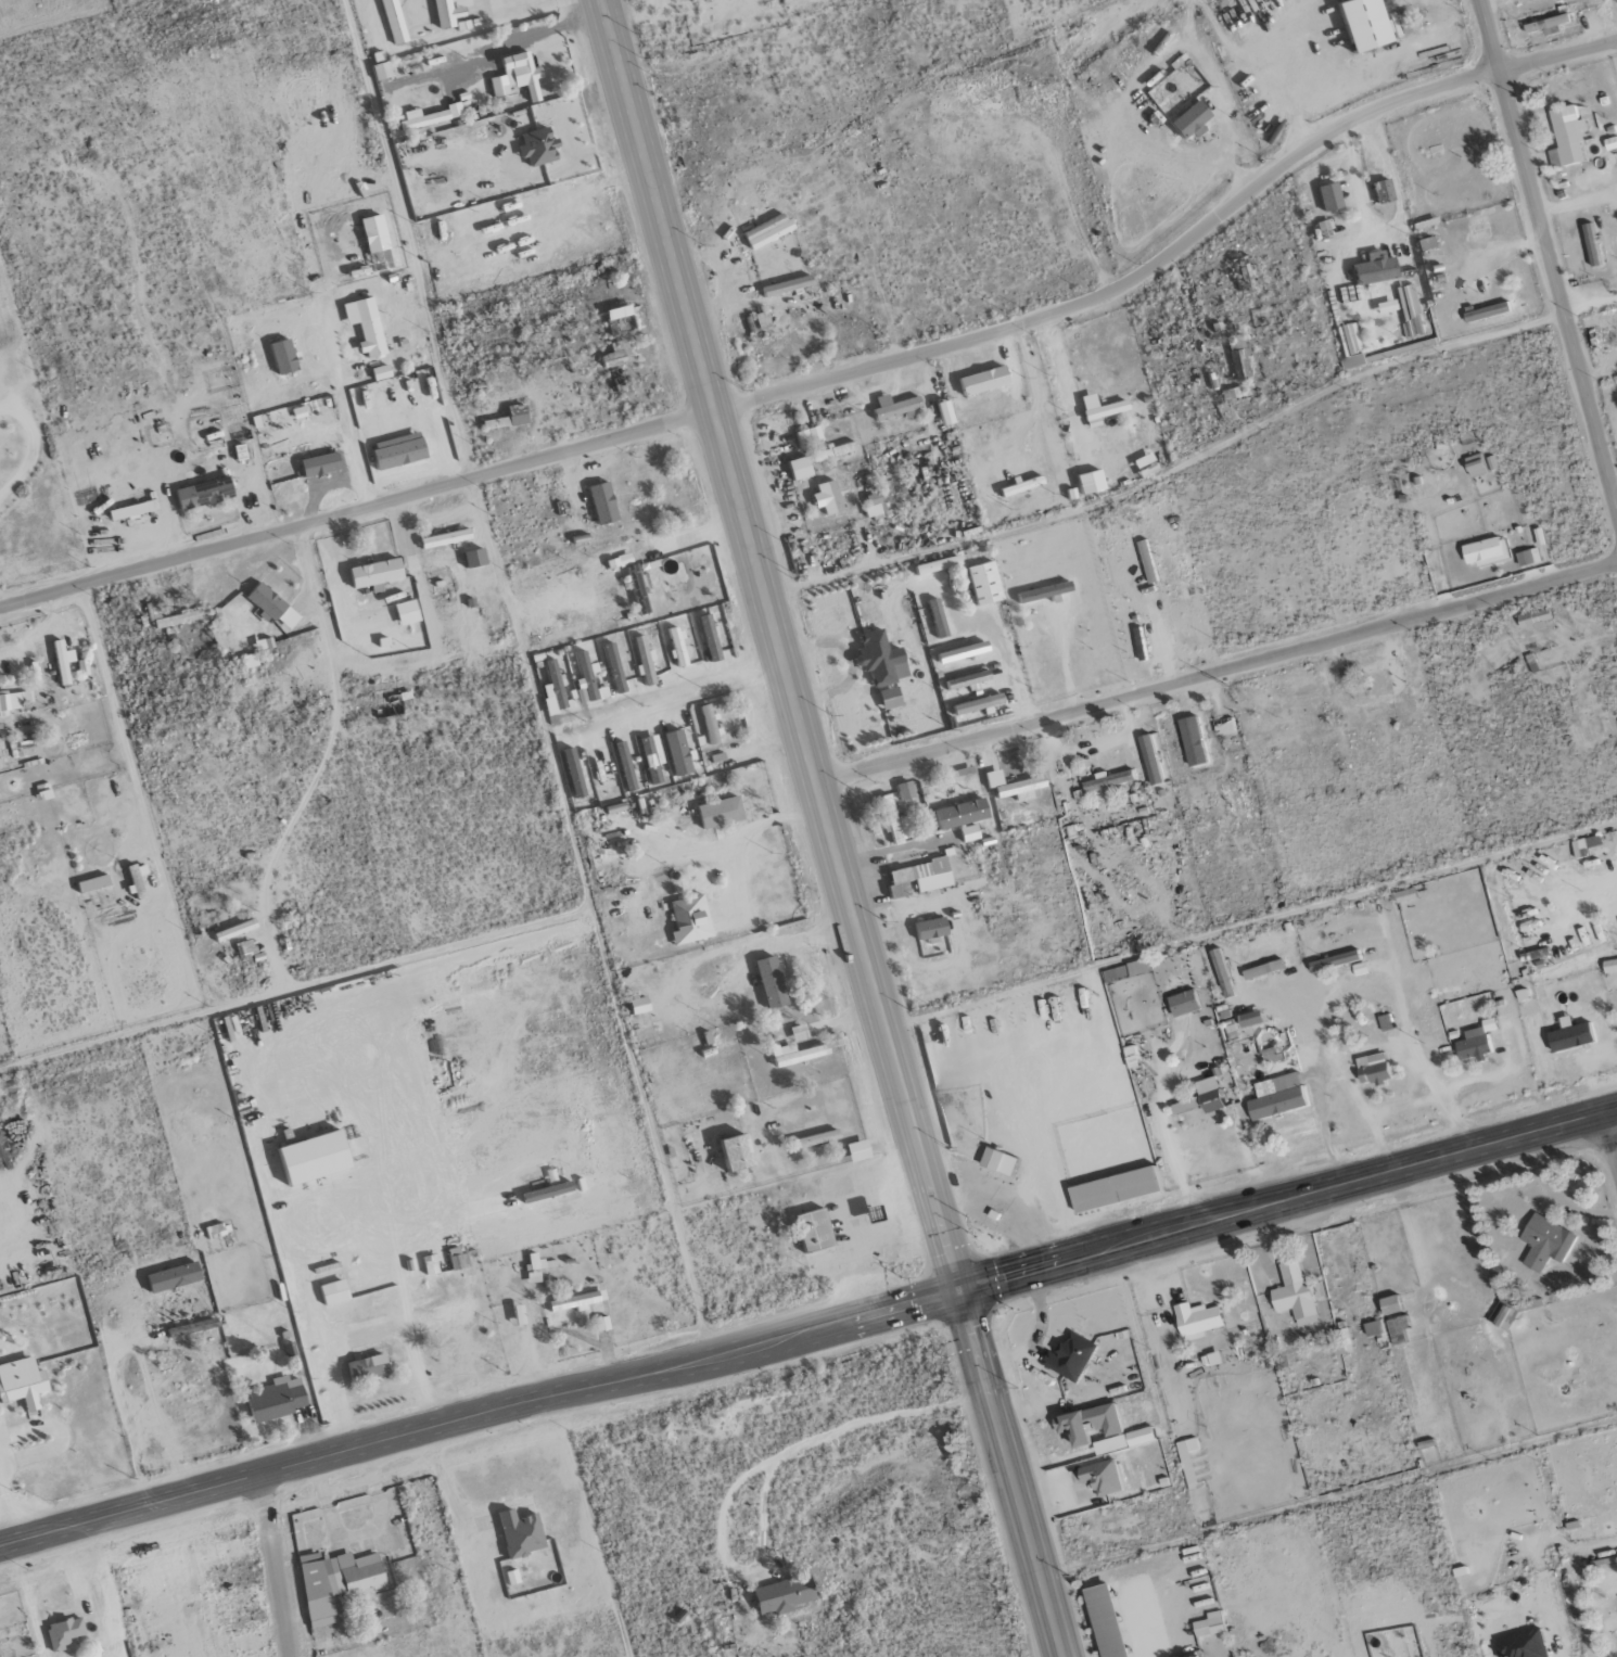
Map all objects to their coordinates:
building: (441, 13)
building: (390, 21)
building: (1408, 23)
building: (1357, 24)
building: (1545, 25)
building: (378, 71)
building: (519, 76)
building: (431, 116)
building: (1185, 120)
building: (1566, 137)
building: (1610, 143)
building: (538, 146)
building: (1378, 191)
building: (1325, 196)
road: (1390, 229)
building: (762, 231)
building: (377, 233)
road: (410, 238)
building: (1421, 243)
building: (1591, 244)
road: (1549, 253)
building: (1371, 269)
building: (782, 285)
road: (1591, 306)
building: (1406, 310)
building: (1486, 313)
building: (622, 318)
building: (757, 320)
building: (368, 324)
building: (1349, 345)
building: (619, 354)
building: (285, 356)
building: (1236, 357)
road: (833, 379)
building: (979, 380)
building: (1232, 393)
building: (890, 406)
building: (1095, 408)
building: (939, 411)
building: (519, 415)
building: (497, 423)
building: (804, 435)
building: (399, 454)
building: (813, 459)
building: (322, 463)
building: (1016, 486)
building: (205, 493)
building: (823, 497)
building: (604, 502)
building: (868, 506)
building: (135, 510)
building: (447, 538)
building: (1143, 549)
building: (1486, 551)
building: (1527, 557)
building: (476, 558)
building: (932, 564)
building: (378, 573)
building: (634, 582)
building: (979, 583)
building: (1039, 591)
building: (275, 607)
building: (408, 612)
building: (932, 617)
building: (1532, 619)
building: (711, 637)
building: (678, 647)
building: (956, 652)
building: (877, 659)
building: (645, 660)
building: (64, 662)
road: (1218, 672)
building: (587, 679)
building: (963, 679)
building: (555, 684)
road: (692, 685)
building: (884, 698)
building: (12, 701)
building: (972, 704)
building: (710, 724)
building: (1223, 727)
building: (1192, 740)
building: (679, 752)
building: (653, 757)
building: (1150, 759)
building: (574, 773)
building: (1109, 780)
building: (1010, 786)
building: (901, 790)
road: (137, 801)
building: (722, 812)
building: (956, 813)
building: (891, 821)
road: (832, 829)
building: (964, 832)
building: (1584, 846)
building: (139, 878)
building: (915, 878)
building: (94, 883)
building: (1403, 895)
building: (691, 920)
building: (240, 928)
building: (926, 929)
road: (1313, 939)
building: (246, 946)
building: (1334, 960)
building: (1609, 966)
building: (1262, 969)
building: (1125, 970)
building: (1222, 973)
building: (772, 982)
road: (1359, 984)
building: (1182, 1003)
building: (640, 1005)
building: (799, 1032)
building: (1569, 1035)
building: (1475, 1042)
road: (1362, 1050)
building: (798, 1054)
building: (1372, 1068)
building: (1276, 1096)
building: (1201, 1097)
road: (1367, 1116)
building: (818, 1138)
road: (1610, 1138)
building: (860, 1150)
building: (740, 1153)
building: (317, 1157)
building: (997, 1161)
building: (1113, 1189)
building: (548, 1193)
road: (329, 1218)
building: (816, 1231)
building: (1544, 1241)
building: (459, 1260)
building: (537, 1267)
building: (175, 1277)
building: (335, 1292)
traffic signals: (964, 1292)
building: (1294, 1293)
building: (577, 1301)
building: (1390, 1305)
building: (521, 1315)
building: (1196, 1321)
building: (1388, 1330)
road: (360, 1333)
road: (807, 1335)
building: (1069, 1356)
building: (369, 1367)
building: (23, 1382)
building: (278, 1399)
building: (1068, 1426)
road: (124, 1440)
building: (1123, 1441)
building: (1187, 1460)
building: (1100, 1478)
building: (522, 1533)
road: (273, 1566)
building: (338, 1581)
building: (785, 1595)
building: (1104, 1621)
building: (1209, 1624)
building: (65, 1632)
building: (1521, 1645)

